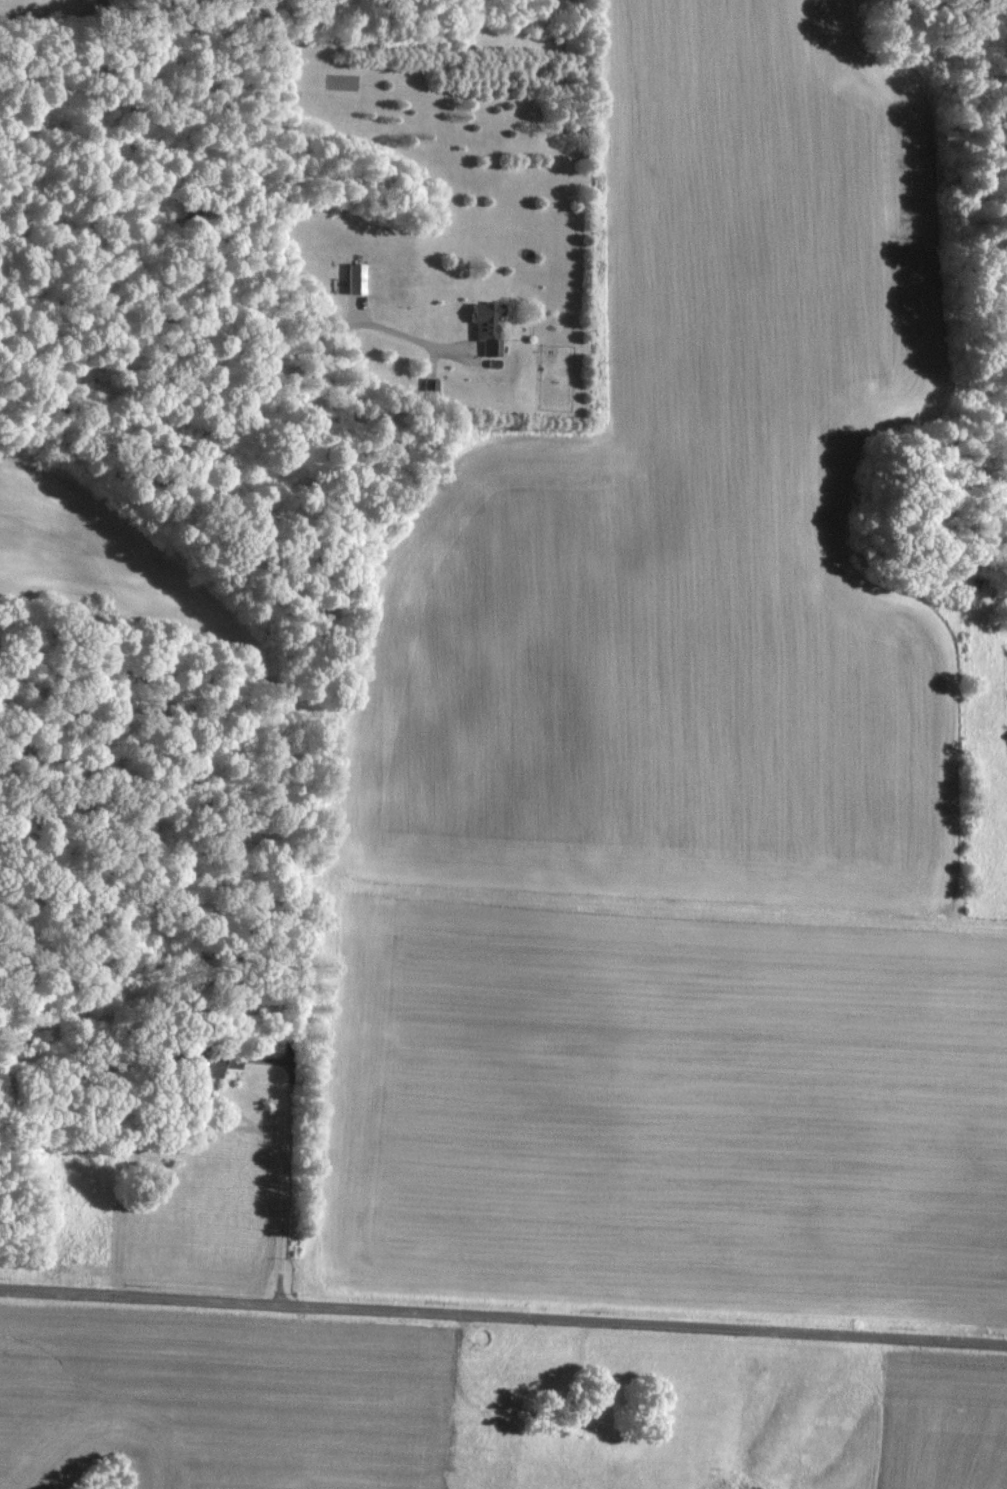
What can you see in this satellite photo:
building: (353, 277)
building: (483, 325)
road: (285, 1180)
road: (503, 1313)

